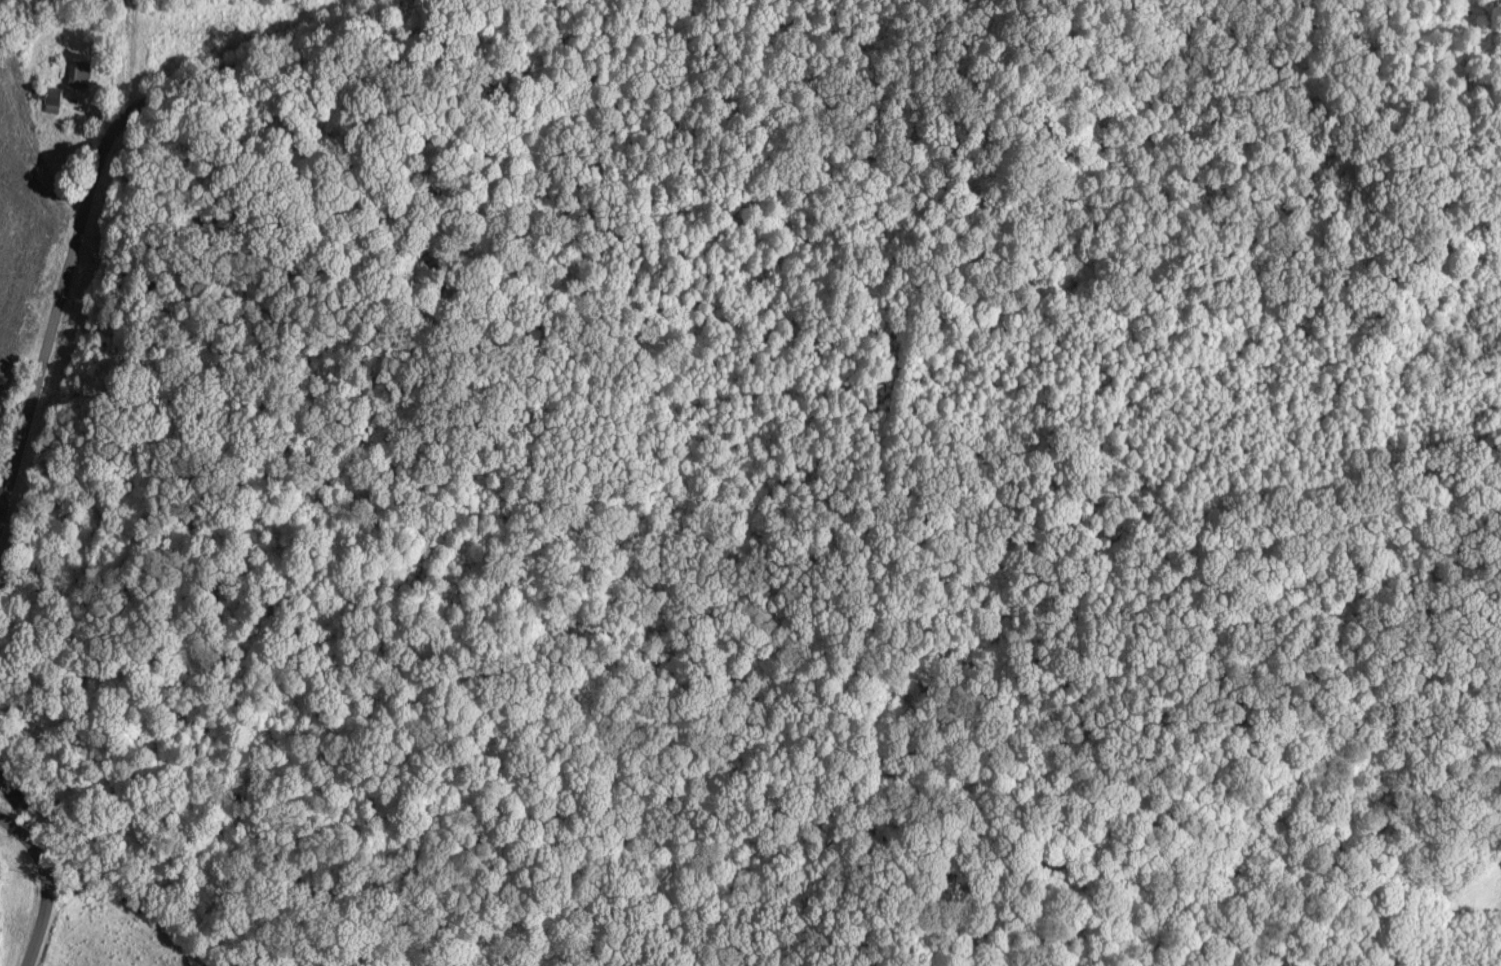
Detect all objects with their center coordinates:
building: (56, 97)
road: (96, 156)
road: (46, 883)

